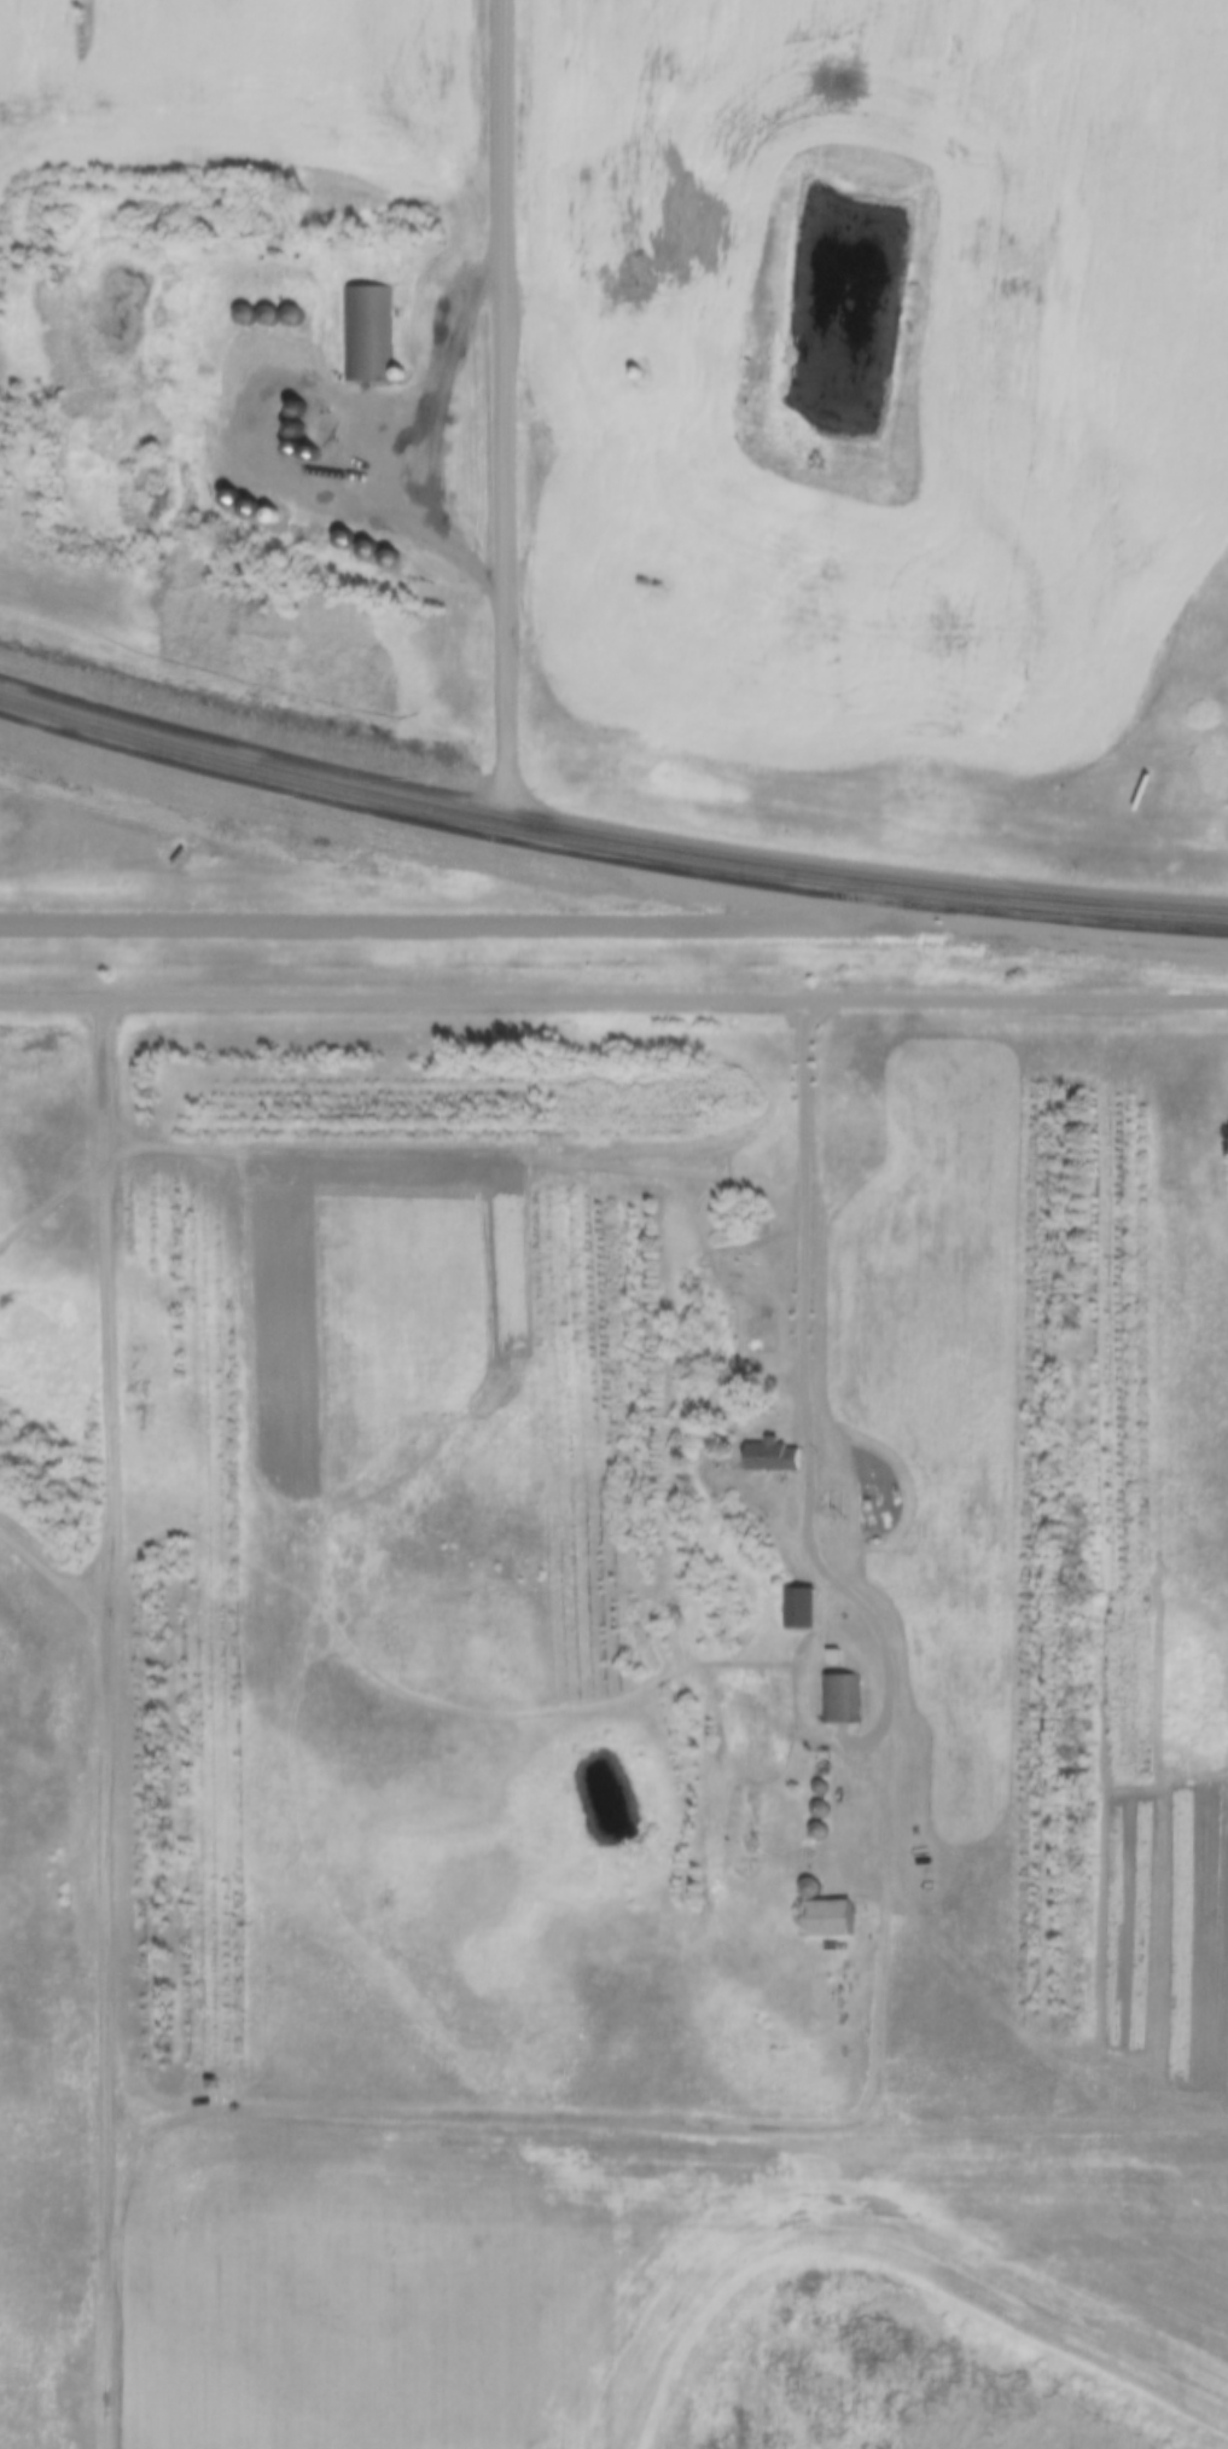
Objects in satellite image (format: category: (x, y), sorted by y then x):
building: (245, 306)
silo: (245, 306)
building: (268, 307)
silo: (268, 307)
building: (292, 308)
silo: (292, 308)
building: (366, 320)
building: (645, 360)
silo: (645, 360)
building: (313, 394)
silo: (313, 394)
road: (501, 407)
building: (315, 411)
silo: (315, 411)
building: (316, 429)
silo: (316, 429)
building: (336, 433)
silo: (336, 433)
building: (266, 476)
silo: (266, 476)
building: (287, 484)
silo: (287, 484)
building: (307, 492)
silo: (307, 492)
building: (386, 513)
silo: (386, 513)
building: (412, 522)
silo: (412, 522)
building: (436, 530)
silo: (436, 530)
road: (609, 834)
road: (548, 928)
road: (613, 998)
road: (805, 1214)
building: (773, 1444)
building: (803, 1595)
building: (833, 1643)
building: (840, 1687)
road: (100, 1723)
building: (823, 1776)
silo: (823, 1776)
building: (823, 1798)
silo: (823, 1798)
building: (823, 1820)
silo: (823, 1820)
building: (813, 1876)
silo: (813, 1876)
building: (830, 1907)

